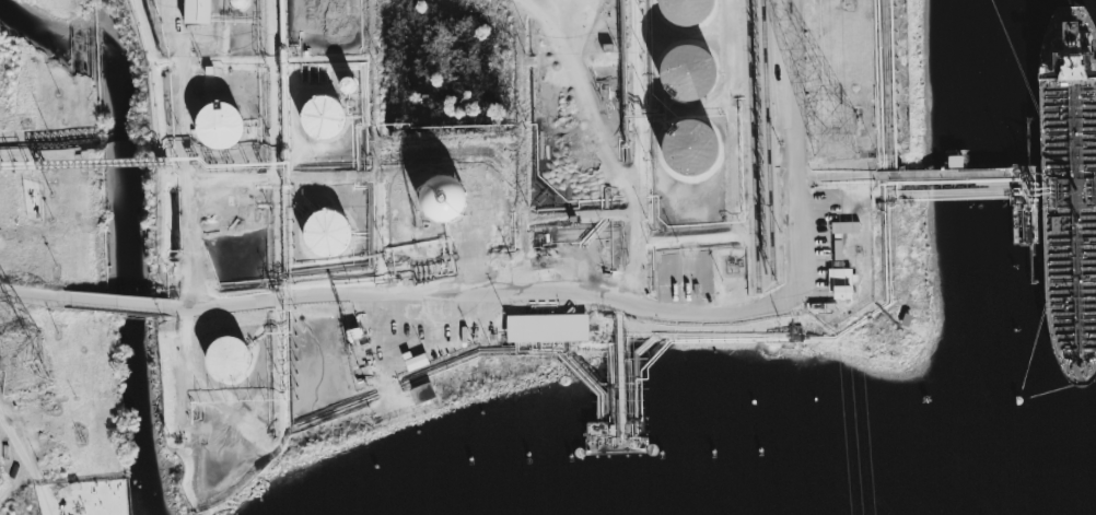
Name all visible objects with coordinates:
building: (232, 4)
building: (193, 11)
building: (678, 12)
building: (680, 73)
building: (340, 85)
building: (328, 121)
building: (221, 129)
railway: (768, 138)
power tower: (835, 138)
railway: (751, 145)
road: (518, 148)
building: (679, 150)
road: (265, 177)
pier: (1028, 177)
road: (859, 178)
building: (330, 237)
road: (795, 238)
building: (835, 249)
building: (479, 276)
building: (836, 283)
road: (54, 293)
road: (543, 295)
road: (137, 300)
building: (541, 328)
road: (467, 349)
building: (231, 362)
power tower: (19, 363)
road: (193, 371)
building: (419, 393)
road: (5, 426)
road: (25, 459)
road: (261, 488)

